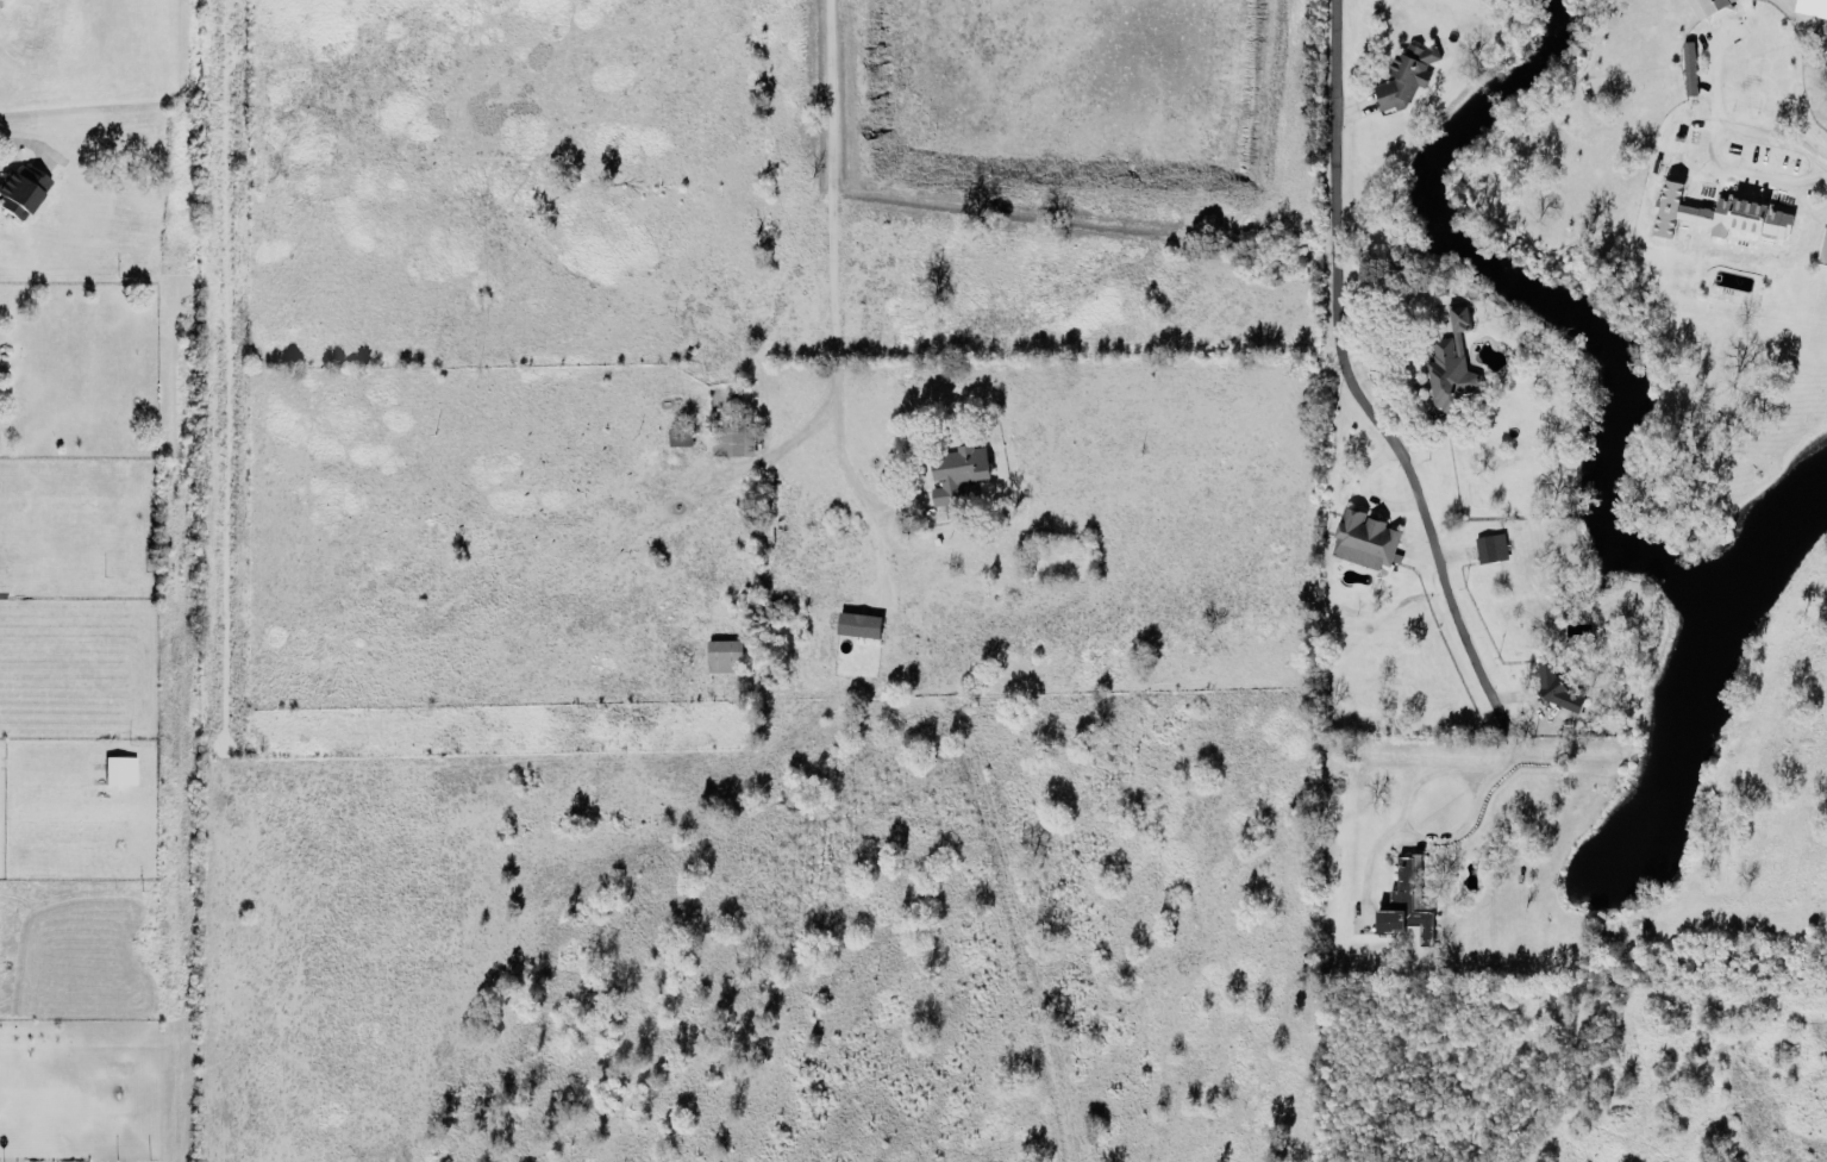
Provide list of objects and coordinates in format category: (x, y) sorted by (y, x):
building: (1712, 7)
building: (1812, 7)
building: (1689, 64)
building: (1404, 73)
road: (1714, 124)
road: (25, 139)
road: (1821, 167)
building: (20, 188)
building: (1733, 223)
road: (839, 319)
building: (1451, 360)
road: (1352, 383)
building: (680, 432)
building: (732, 435)
building: (956, 473)
building: (1364, 536)
building: (1490, 544)
building: (858, 621)
building: (724, 654)
building: (1556, 685)
building: (120, 768)
road: (1443, 768)
road: (978, 771)
building: (1408, 894)

